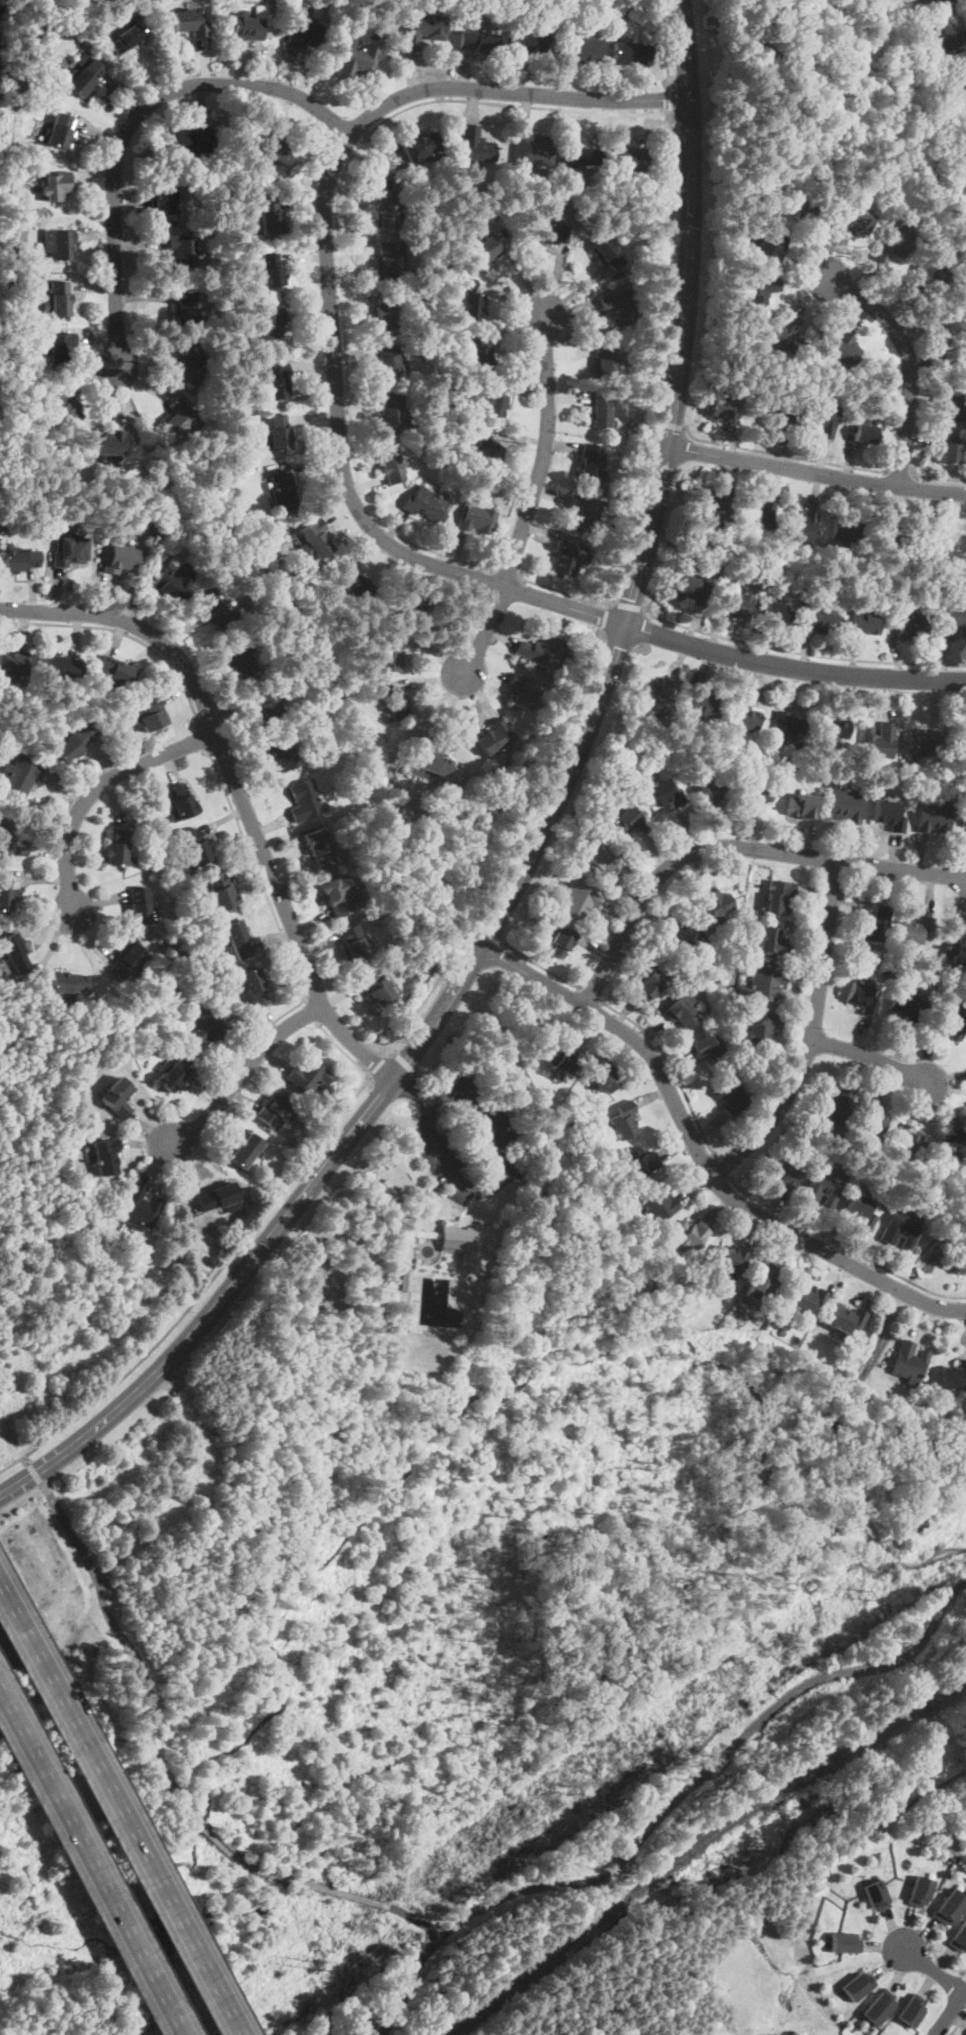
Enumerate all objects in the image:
building: (941, 1)
building: (370, 17)
building: (192, 22)
building: (247, 26)
building: (423, 30)
building: (304, 31)
building: (128, 37)
building: (949, 37)
building: (478, 41)
building: (530, 41)
road: (666, 44)
building: (579, 49)
building: (630, 53)
building: (358, 60)
building: (82, 76)
building: (962, 77)
road: (672, 99)
park: (833, 119)
road: (129, 123)
building: (60, 131)
building: (194, 141)
building: (276, 145)
building: (476, 145)
building: (423, 147)
building: (532, 150)
building: (582, 157)
building: (632, 159)
building: (15, 160)
building: (56, 185)
building: (164, 198)
building: (386, 208)
building: (808, 213)
building: (270, 216)
building: (856, 221)
road: (339, 234)
building: (555, 234)
building: (58, 243)
building: (771, 246)
building: (892, 246)
building: (488, 248)
building: (182, 249)
building: (608, 252)
building: (391, 260)
building: (273, 270)
building: (11, 278)
building: (924, 279)
building: (468, 282)
building: (759, 291)
building: (59, 300)
building: (186, 306)
building: (474, 307)
building: (620, 307)
building: (388, 308)
building: (953, 322)
building: (265, 325)
building: (0, 332)
building: (785, 334)
building: (757, 339)
building: (25, 345)
building: (61, 346)
building: (845, 349)
building: (480, 355)
building: (956, 359)
building: (390, 361)
building: (188, 362)
building: (606, 362)
road: (908, 362)
building: (277, 380)
building: (854, 400)
building: (496, 405)
building: (64, 407)
road: (654, 407)
building: (720, 408)
building: (956, 408)
building: (391, 411)
building: (601, 412)
building: (179, 416)
building: (777, 417)
building: (823, 419)
road: (655, 421)
road: (670, 424)
building: (864, 434)
building: (277, 435)
building: (107, 444)
building: (484, 450)
building: (948, 453)
road: (781, 455)
building: (590, 461)
road: (342, 465)
building: (389, 466)
road: (816, 472)
road: (900, 473)
road: (940, 478)
building: (284, 489)
road: (528, 502)
building: (425, 504)
building: (711, 508)
building: (584, 513)
building: (760, 516)
building: (475, 519)
building: (800, 525)
building: (846, 530)
building: (316, 537)
building: (888, 543)
building: (931, 546)
building: (70, 548)
building: (120, 555)
building: (18, 558)
building: (568, 558)
road: (508, 575)
building: (172, 582)
building: (352, 582)
building: (690, 590)
building: (409, 602)
building: (734, 605)
road: (627, 606)
building: (213, 608)
building: (776, 613)
road: (605, 617)
building: (820, 618)
building: (951, 620)
building: (865, 623)
building: (909, 626)
road: (123, 634)
road: (311, 637)
building: (538, 649)
road: (801, 653)
building: (389, 654)
building: (239, 660)
building: (14, 661)
building: (61, 666)
building: (113, 668)
building: (522, 692)
building: (656, 695)
building: (395, 701)
building: (701, 703)
building: (265, 704)
building: (148, 714)
building: (743, 719)
building: (835, 724)
road: (458, 728)
building: (787, 730)
building: (495, 735)
building: (961, 735)
road: (201, 739)
building: (72, 740)
building: (878, 740)
building: (921, 741)
building: (282, 753)
building: (429, 760)
building: (20, 776)
road: (546, 782)
road: (96, 788)
road: (237, 788)
building: (715, 789)
building: (663, 791)
building: (755, 796)
building: (305, 799)
building: (179, 800)
building: (802, 804)
building: (844, 804)
building: (887, 813)
building: (932, 813)
building: (964, 815)
building: (627, 819)
building: (11, 835)
road: (538, 836)
building: (119, 846)
building: (198, 846)
building: (318, 847)
road: (732, 847)
building: (598, 859)
building: (220, 888)
building: (7, 891)
building: (338, 894)
road: (267, 895)
building: (778, 896)
building: (578, 900)
building: (715, 902)
building: (140, 904)
building: (871, 922)
building: (910, 931)
building: (681, 935)
road: (491, 937)
building: (237, 938)
building: (563, 940)
building: (352, 941)
building: (769, 941)
building: (955, 948)
building: (16, 953)
building: (128, 961)
road: (541, 966)
building: (69, 981)
building: (645, 982)
building: (761, 985)
building: (255, 986)
building: (378, 987)
road: (430, 992)
road: (591, 995)
building: (860, 996)
building: (689, 999)
building: (906, 1005)
road: (309, 1011)
building: (680, 1013)
building: (947, 1019)
building: (203, 1027)
building: (757, 1029)
road: (809, 1035)
building: (708, 1047)
road: (343, 1051)
building: (566, 1056)
road: (868, 1056)
road: (403, 1061)
road: (379, 1064)
road: (671, 1068)
road: (243, 1071)
building: (173, 1074)
building: (308, 1075)
building: (604, 1075)
building: (728, 1095)
building: (117, 1099)
building: (831, 1107)
building: (275, 1108)
building: (623, 1119)
building: (869, 1119)
building: (953, 1144)
building: (908, 1146)
building: (245, 1148)
road: (700, 1155)
building: (106, 1157)
building: (640, 1161)
road: (721, 1165)
building: (780, 1172)
road: (490, 1184)
building: (822, 1186)
building: (387, 1189)
building: (218, 1198)
building: (658, 1201)
building: (139, 1207)
building: (859, 1210)
building: (899, 1228)
building: (694, 1231)
road: (928, 1243)
building: (470, 1244)
road: (843, 1246)
building: (730, 1259)
building: (958, 1262)
building: (315, 1272)
building: (763, 1279)
road: (204, 1290)
building: (806, 1300)
building: (844, 1318)
building: (907, 1361)
building: (952, 1375)
road: (26, 1460)
road: (34, 1473)
power tower: (887, 1576)
road: (114, 1622)
power tower: (564, 1788)
road: (121, 1805)
road: (667, 1808)
railway: (697, 1846)
road: (90, 1865)
road: (256, 1866)
building: (921, 1894)
building: (875, 1897)
road: (742, 1903)
building: (952, 1911)
road: (414, 1917)
building: (959, 1943)
building: (843, 1948)
power tower: (315, 1965)
road: (933, 1971)
building: (855, 1989)
building: (878, 2010)
road: (948, 2011)
building: (911, 2013)
road: (958, 2024)

